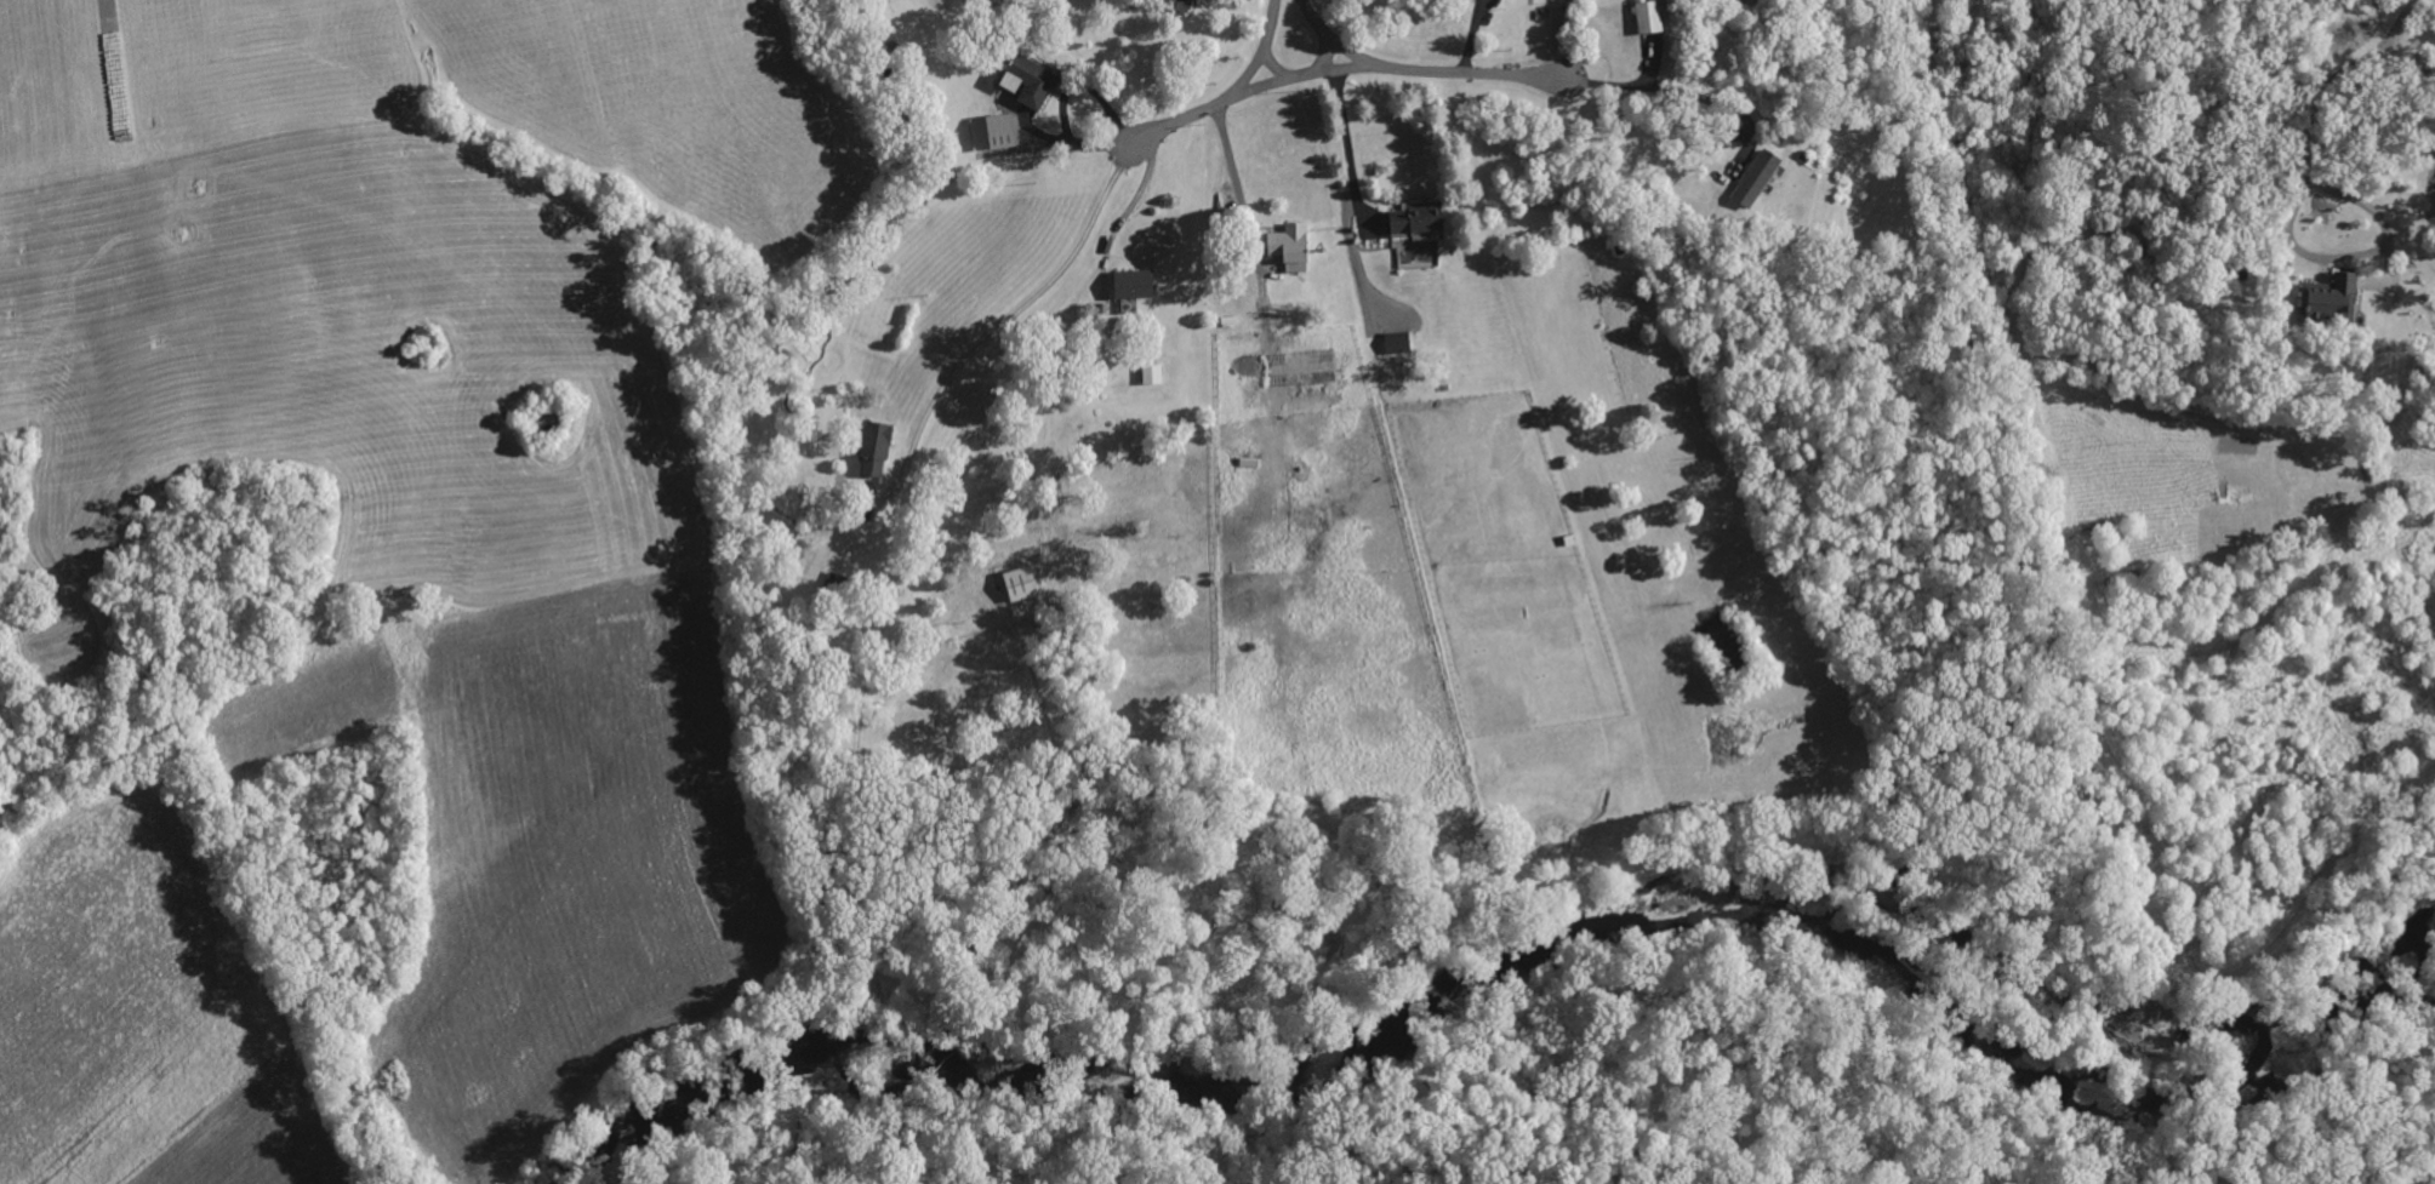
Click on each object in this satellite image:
building: (1170, 5)
building: (1643, 17)
road: (1317, 19)
road: (1270, 28)
road: (1356, 69)
road: (2340, 72)
road: (1443, 73)
road: (1304, 78)
building: (1022, 82)
road: (1618, 86)
road: (1255, 91)
road: (1208, 109)
building: (992, 132)
road: (1342, 139)
road: (1230, 168)
building: (1750, 179)
building: (1410, 219)
building: (1284, 247)
road: (2356, 251)
building: (1127, 285)
building: (2323, 301)
road: (1015, 316)
building: (1392, 343)
building: (1147, 374)
building: (868, 448)
building: (1014, 583)
river: (1518, 979)

